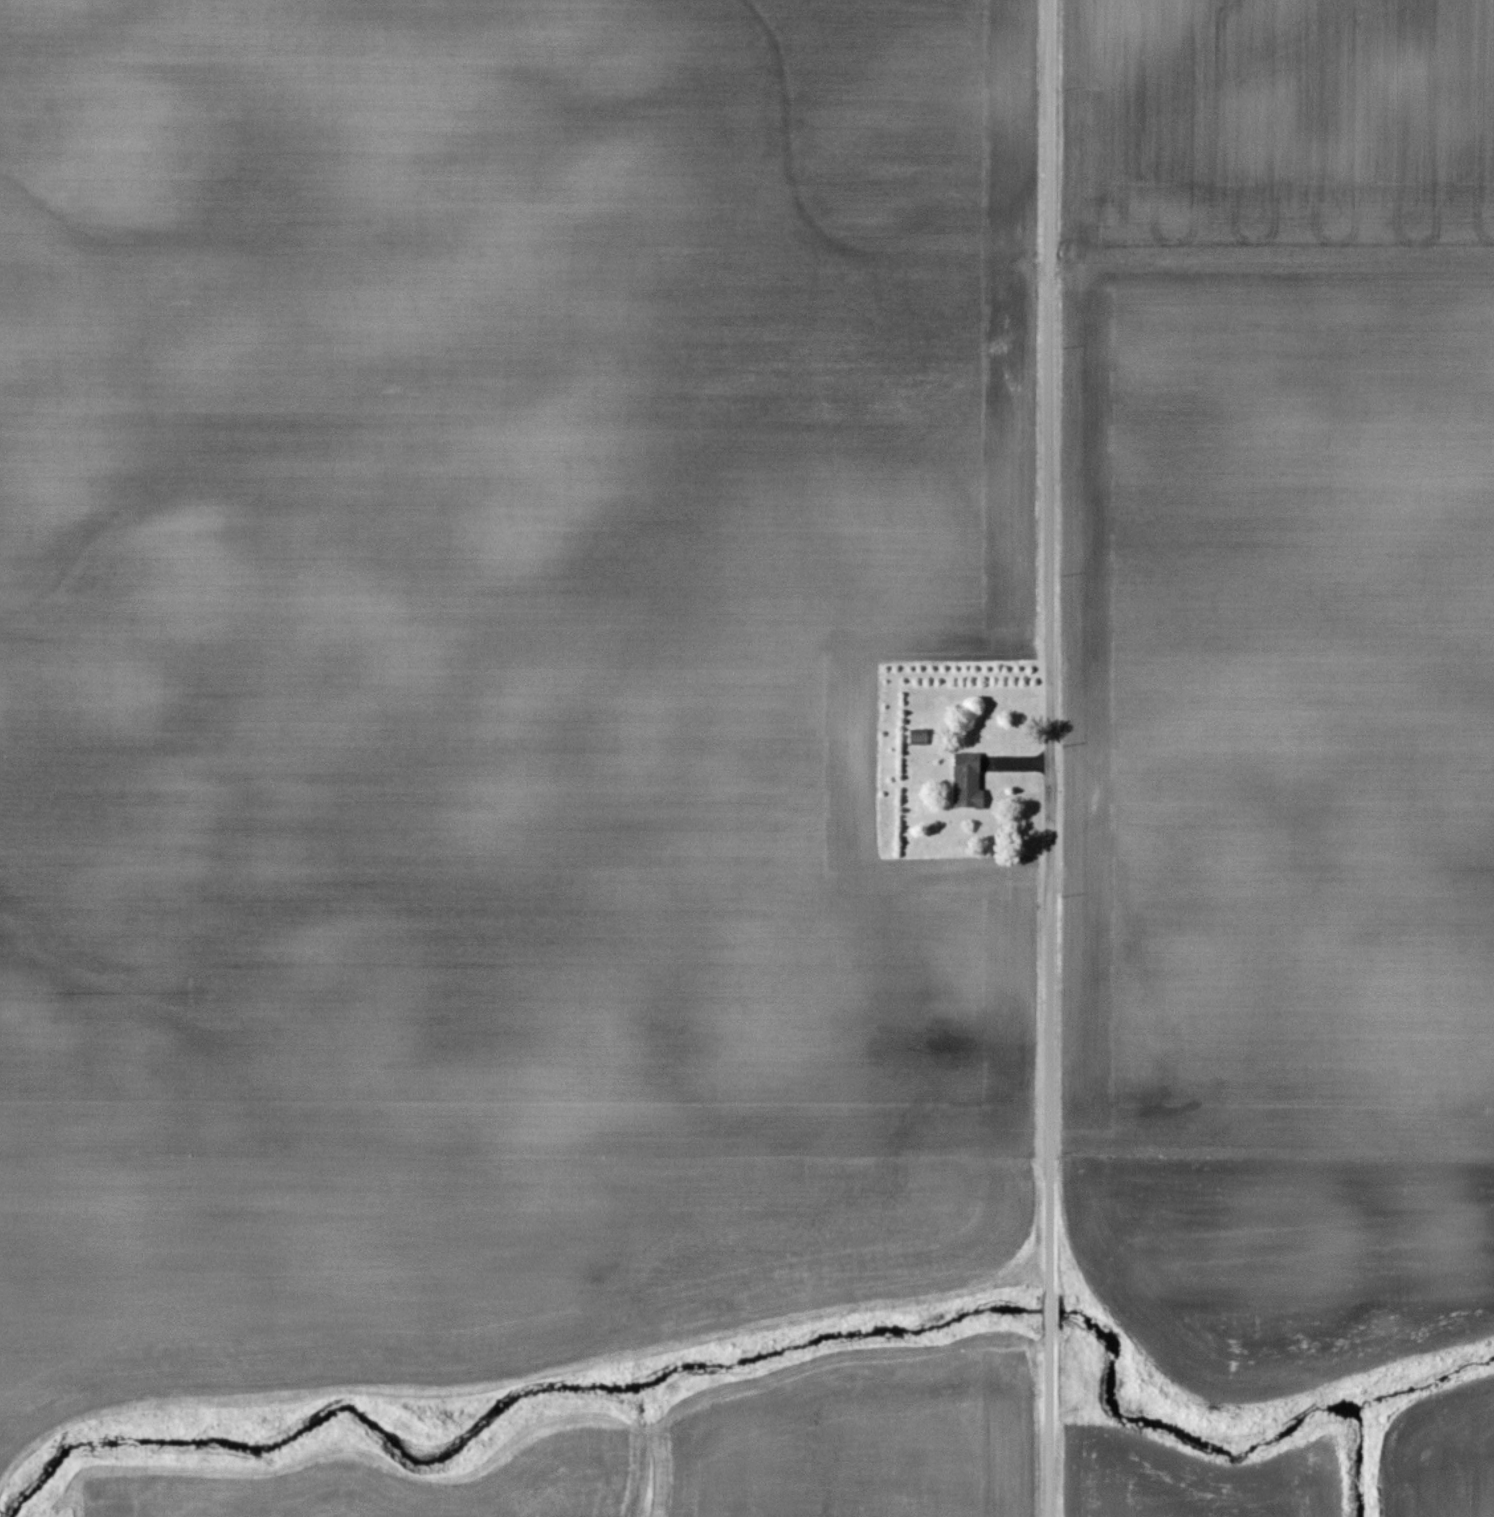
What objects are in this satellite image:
road: (1051, 758)

